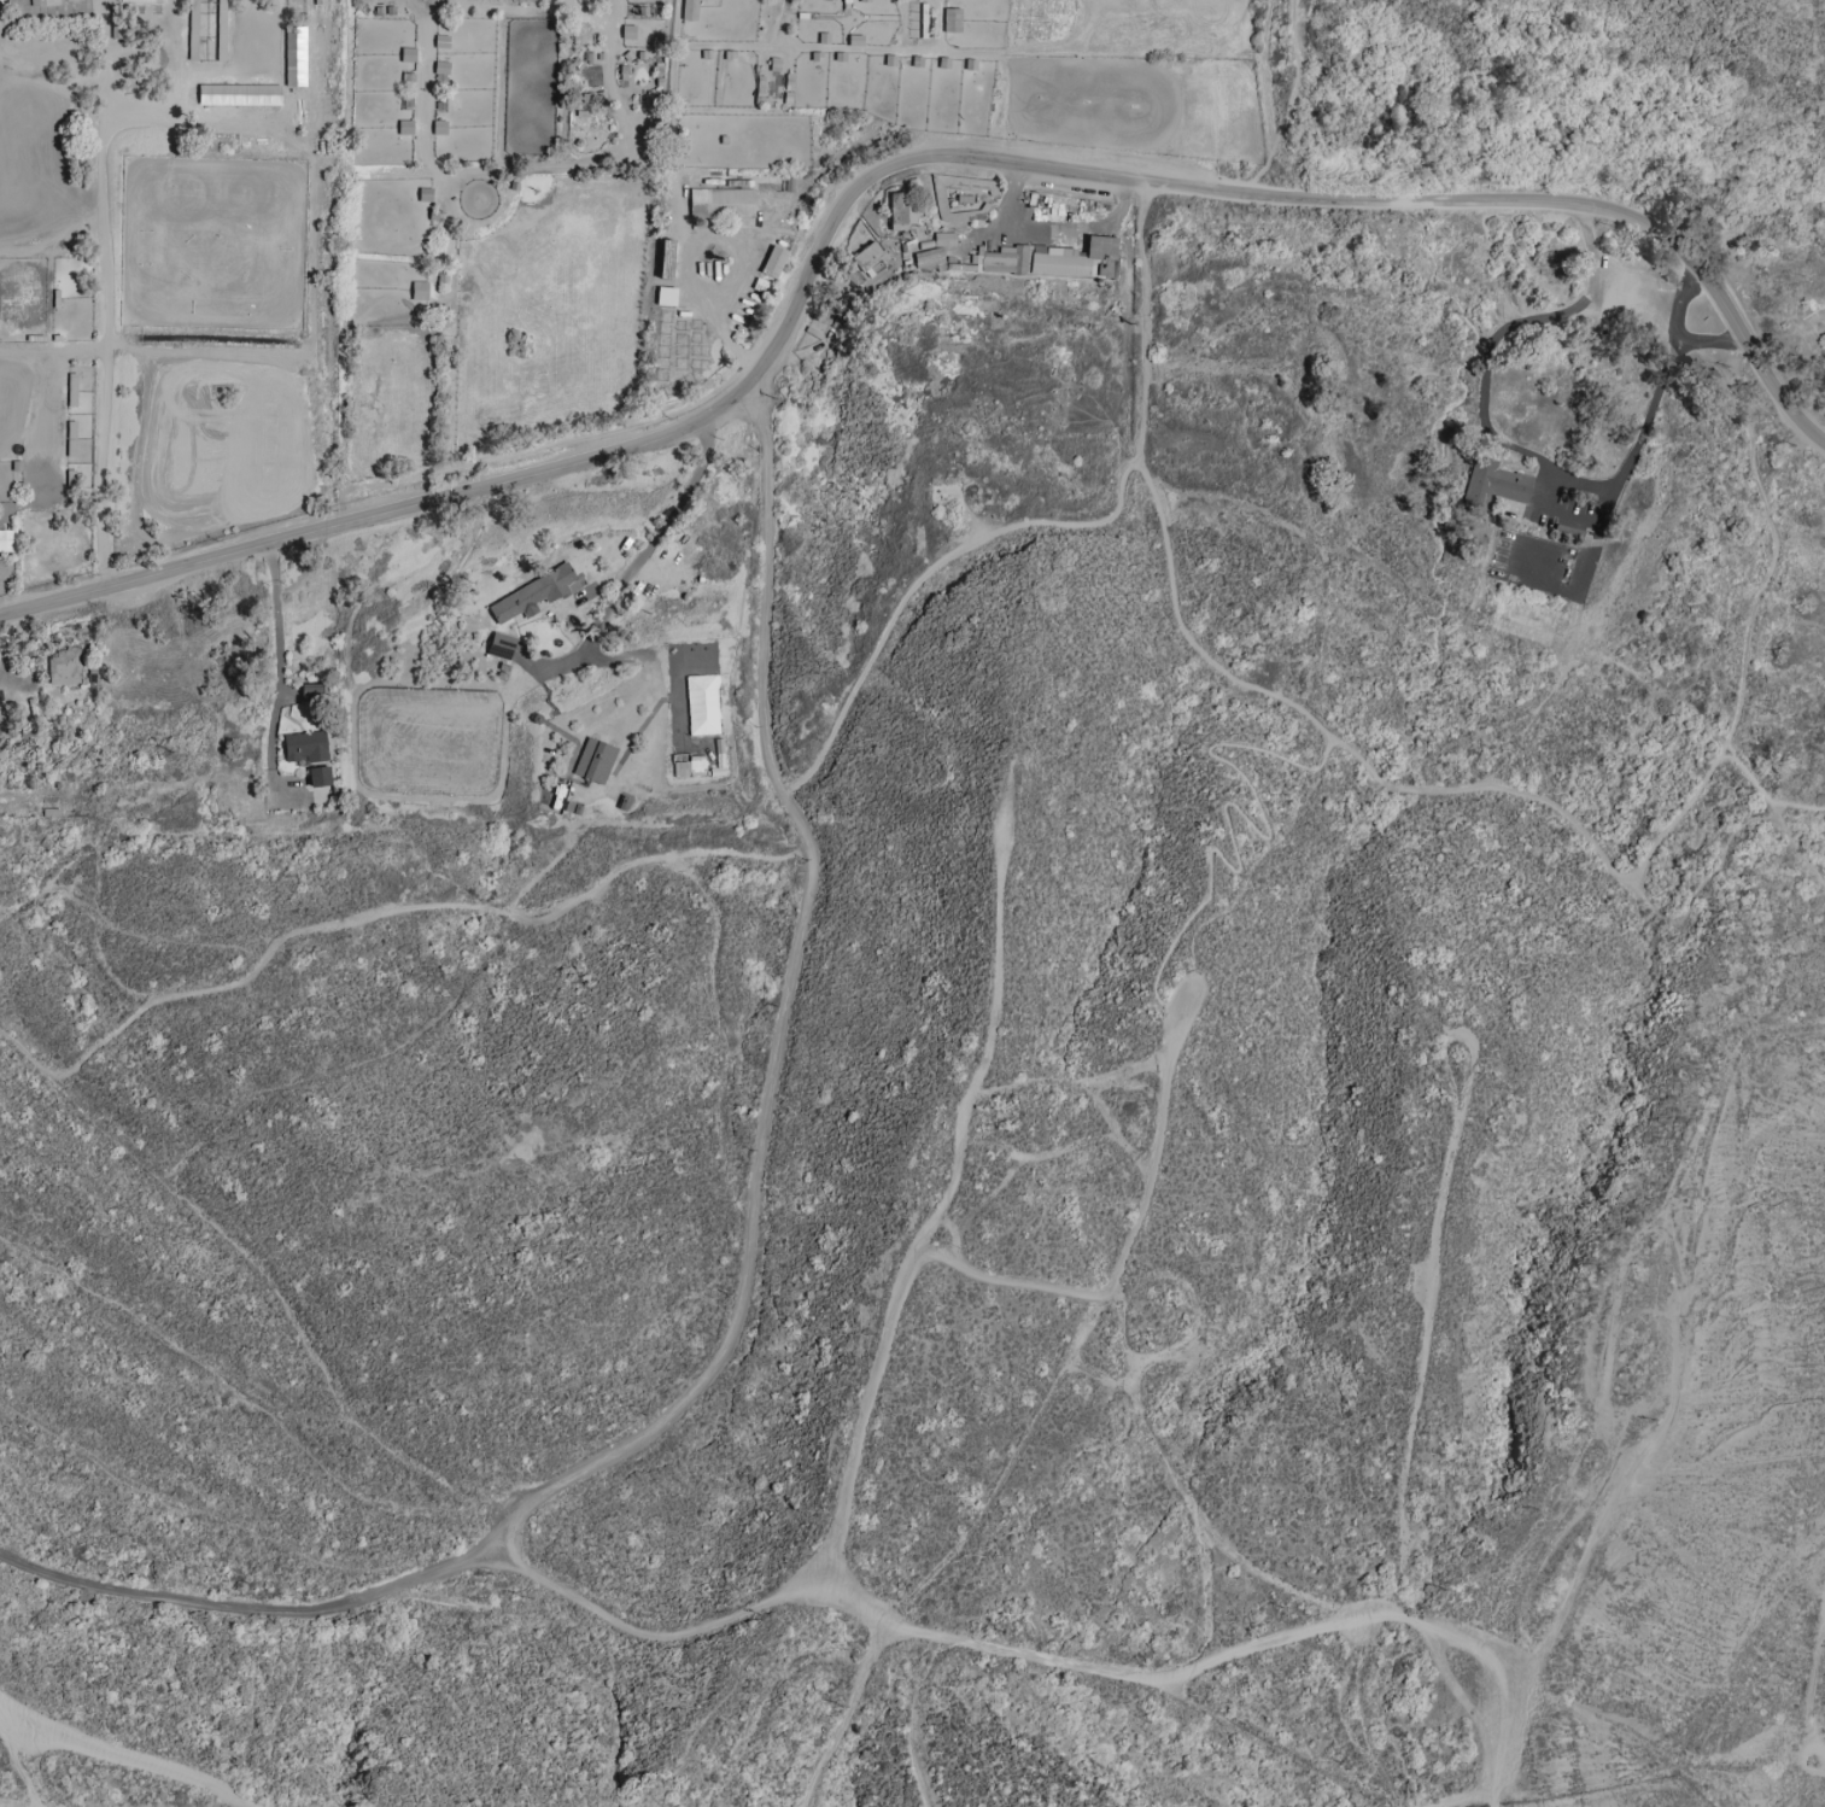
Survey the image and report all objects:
building: (140, 0)
building: (689, 10)
building: (952, 19)
building: (195, 34)
road: (100, 153)
road: (885, 166)
building: (723, 201)
building: (902, 210)
road: (1048, 233)
building: (944, 239)
building: (873, 258)
building: (1053, 259)
building: (773, 262)
building: (420, 290)
road: (1679, 304)
road: (712, 308)
road: (1145, 324)
road: (1501, 335)
road: (1660, 385)
road: (103, 419)
building: (1496, 486)
road: (1556, 507)
building: (6, 539)
road: (1773, 542)
road: (638, 556)
road: (944, 565)
building: (534, 596)
building: (502, 645)
road: (1210, 659)
road: (276, 661)
building: (65, 666)
building: (703, 704)
building: (305, 747)
building: (595, 760)
building: (697, 765)
building: (320, 776)
road: (1767, 794)
road: (1263, 815)
road: (1616, 870)
road: (382, 913)
road: (741, 1270)
road: (879, 1350)
road: (246, 1393)
road: (1215, 1661)
road: (1809, 1684)
road: (848, 1715)
road: (125, 1755)
road: (17, 1761)
road: (1464, 1799)
road: (1494, 1799)

